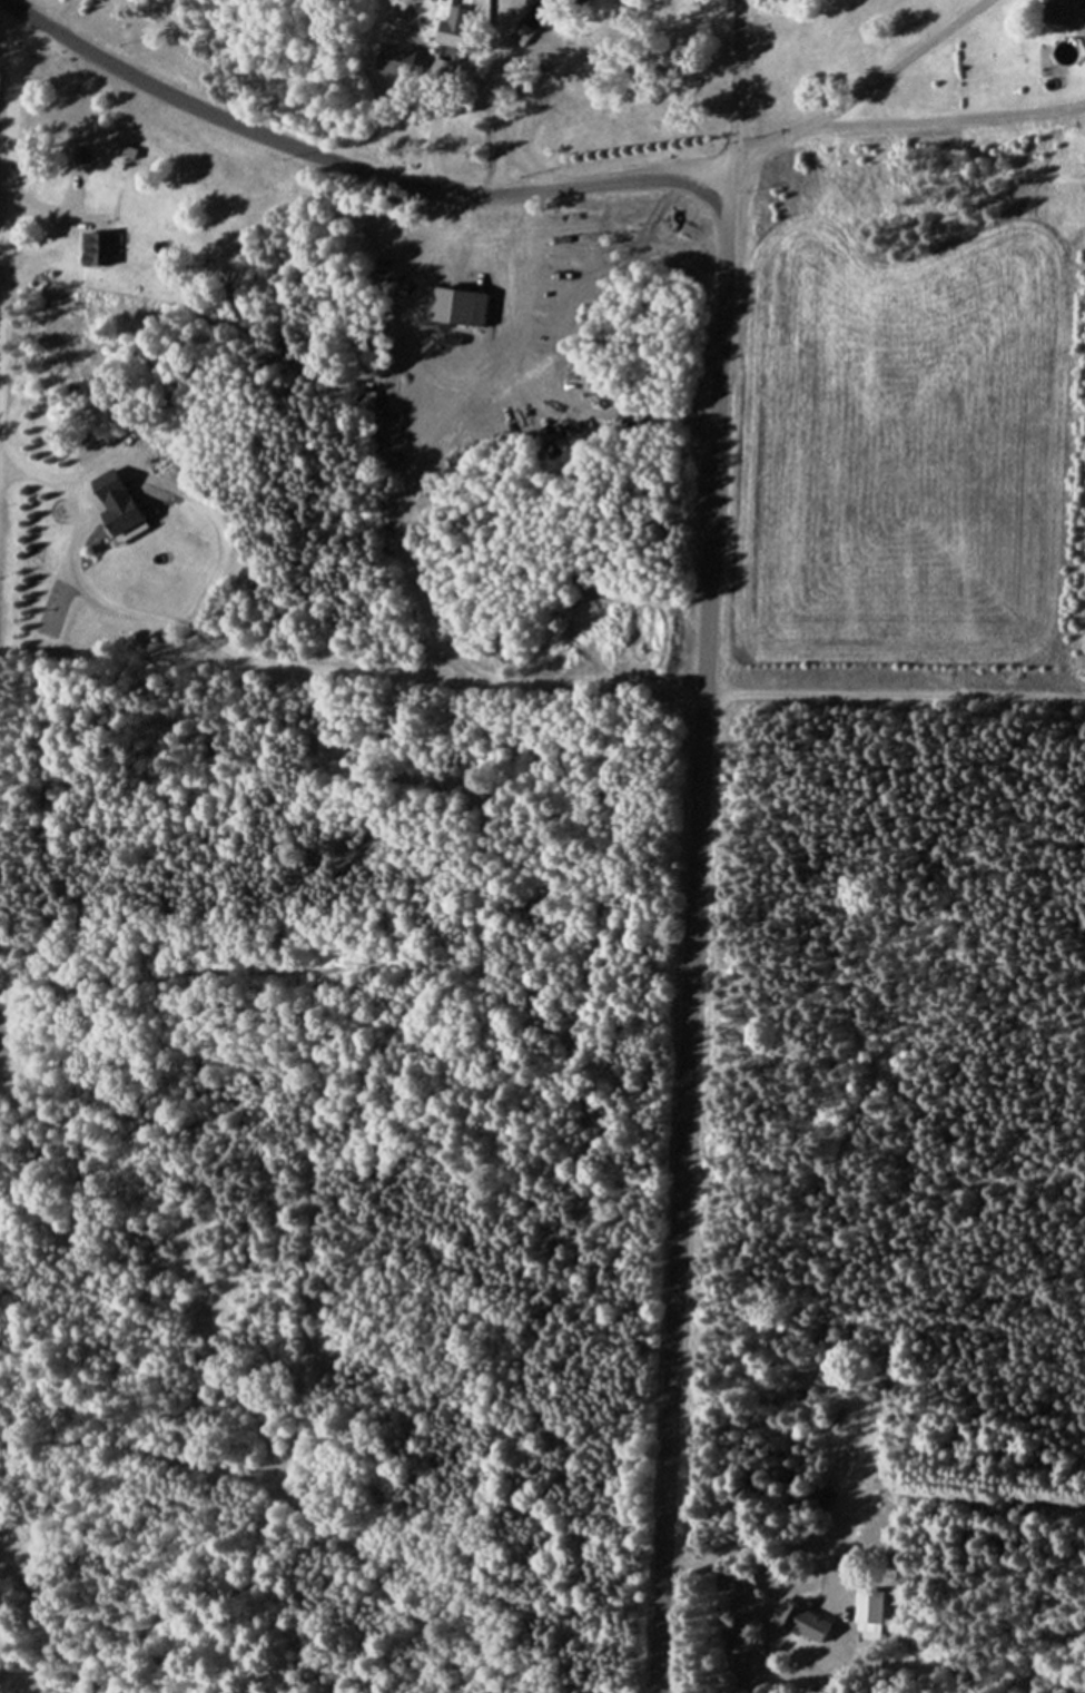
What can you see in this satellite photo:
building: (1062, 12)
building: (546, 13)
building: (464, 27)
road: (497, 59)
building: (414, 63)
road: (888, 71)
road: (464, 93)
road: (734, 97)
road: (935, 121)
road: (749, 159)
road: (7, 165)
road: (526, 165)
road: (38, 209)
building: (101, 250)
building: (463, 307)
building: (388, 454)
building: (126, 504)
road: (397, 540)
road: (75, 555)
road: (708, 557)
road: (403, 675)
road: (892, 699)
road: (747, 1543)
building: (870, 1612)

